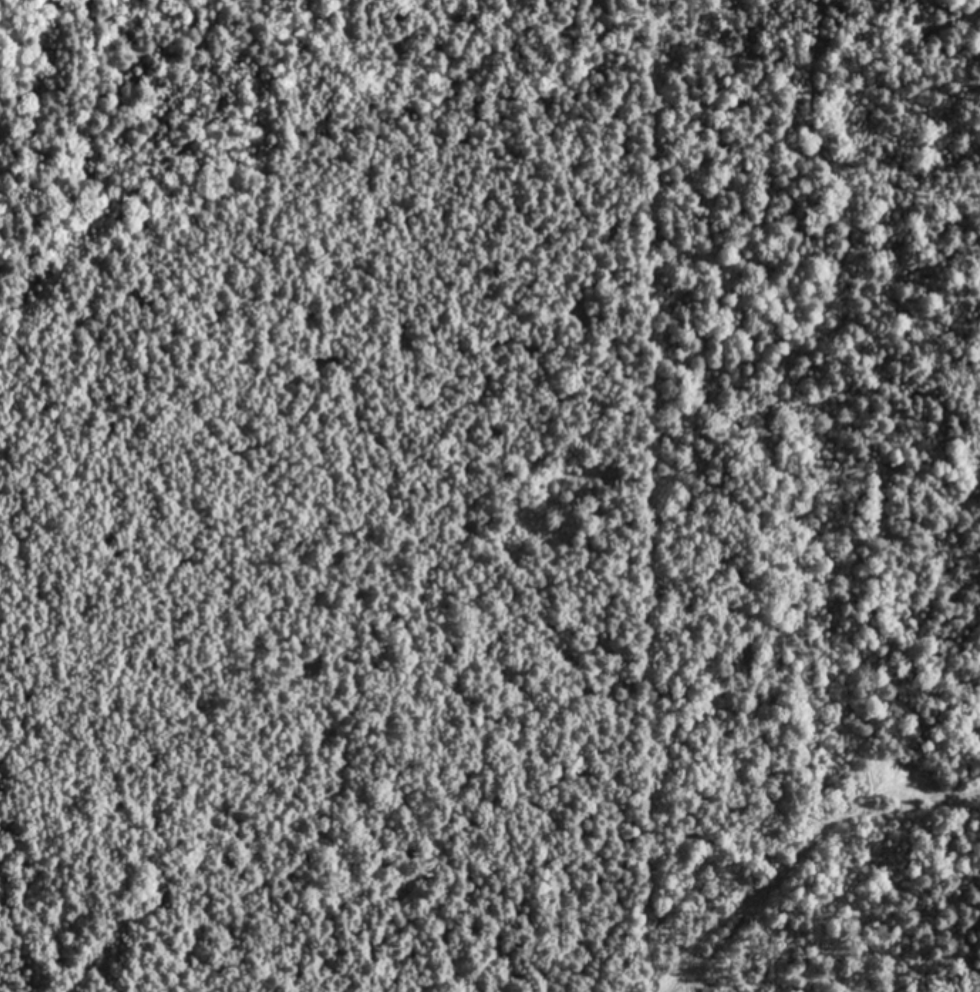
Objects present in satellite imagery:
building: (708, 989)

